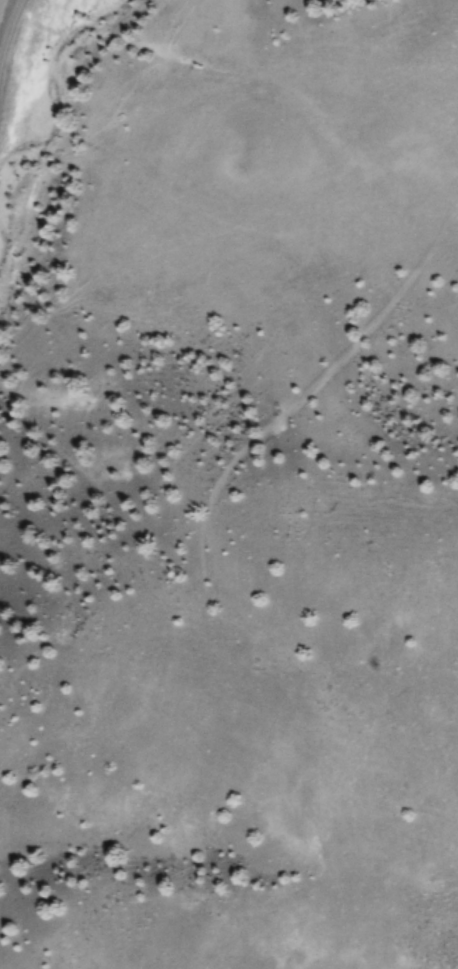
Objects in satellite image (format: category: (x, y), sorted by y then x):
road: (7, 23)

